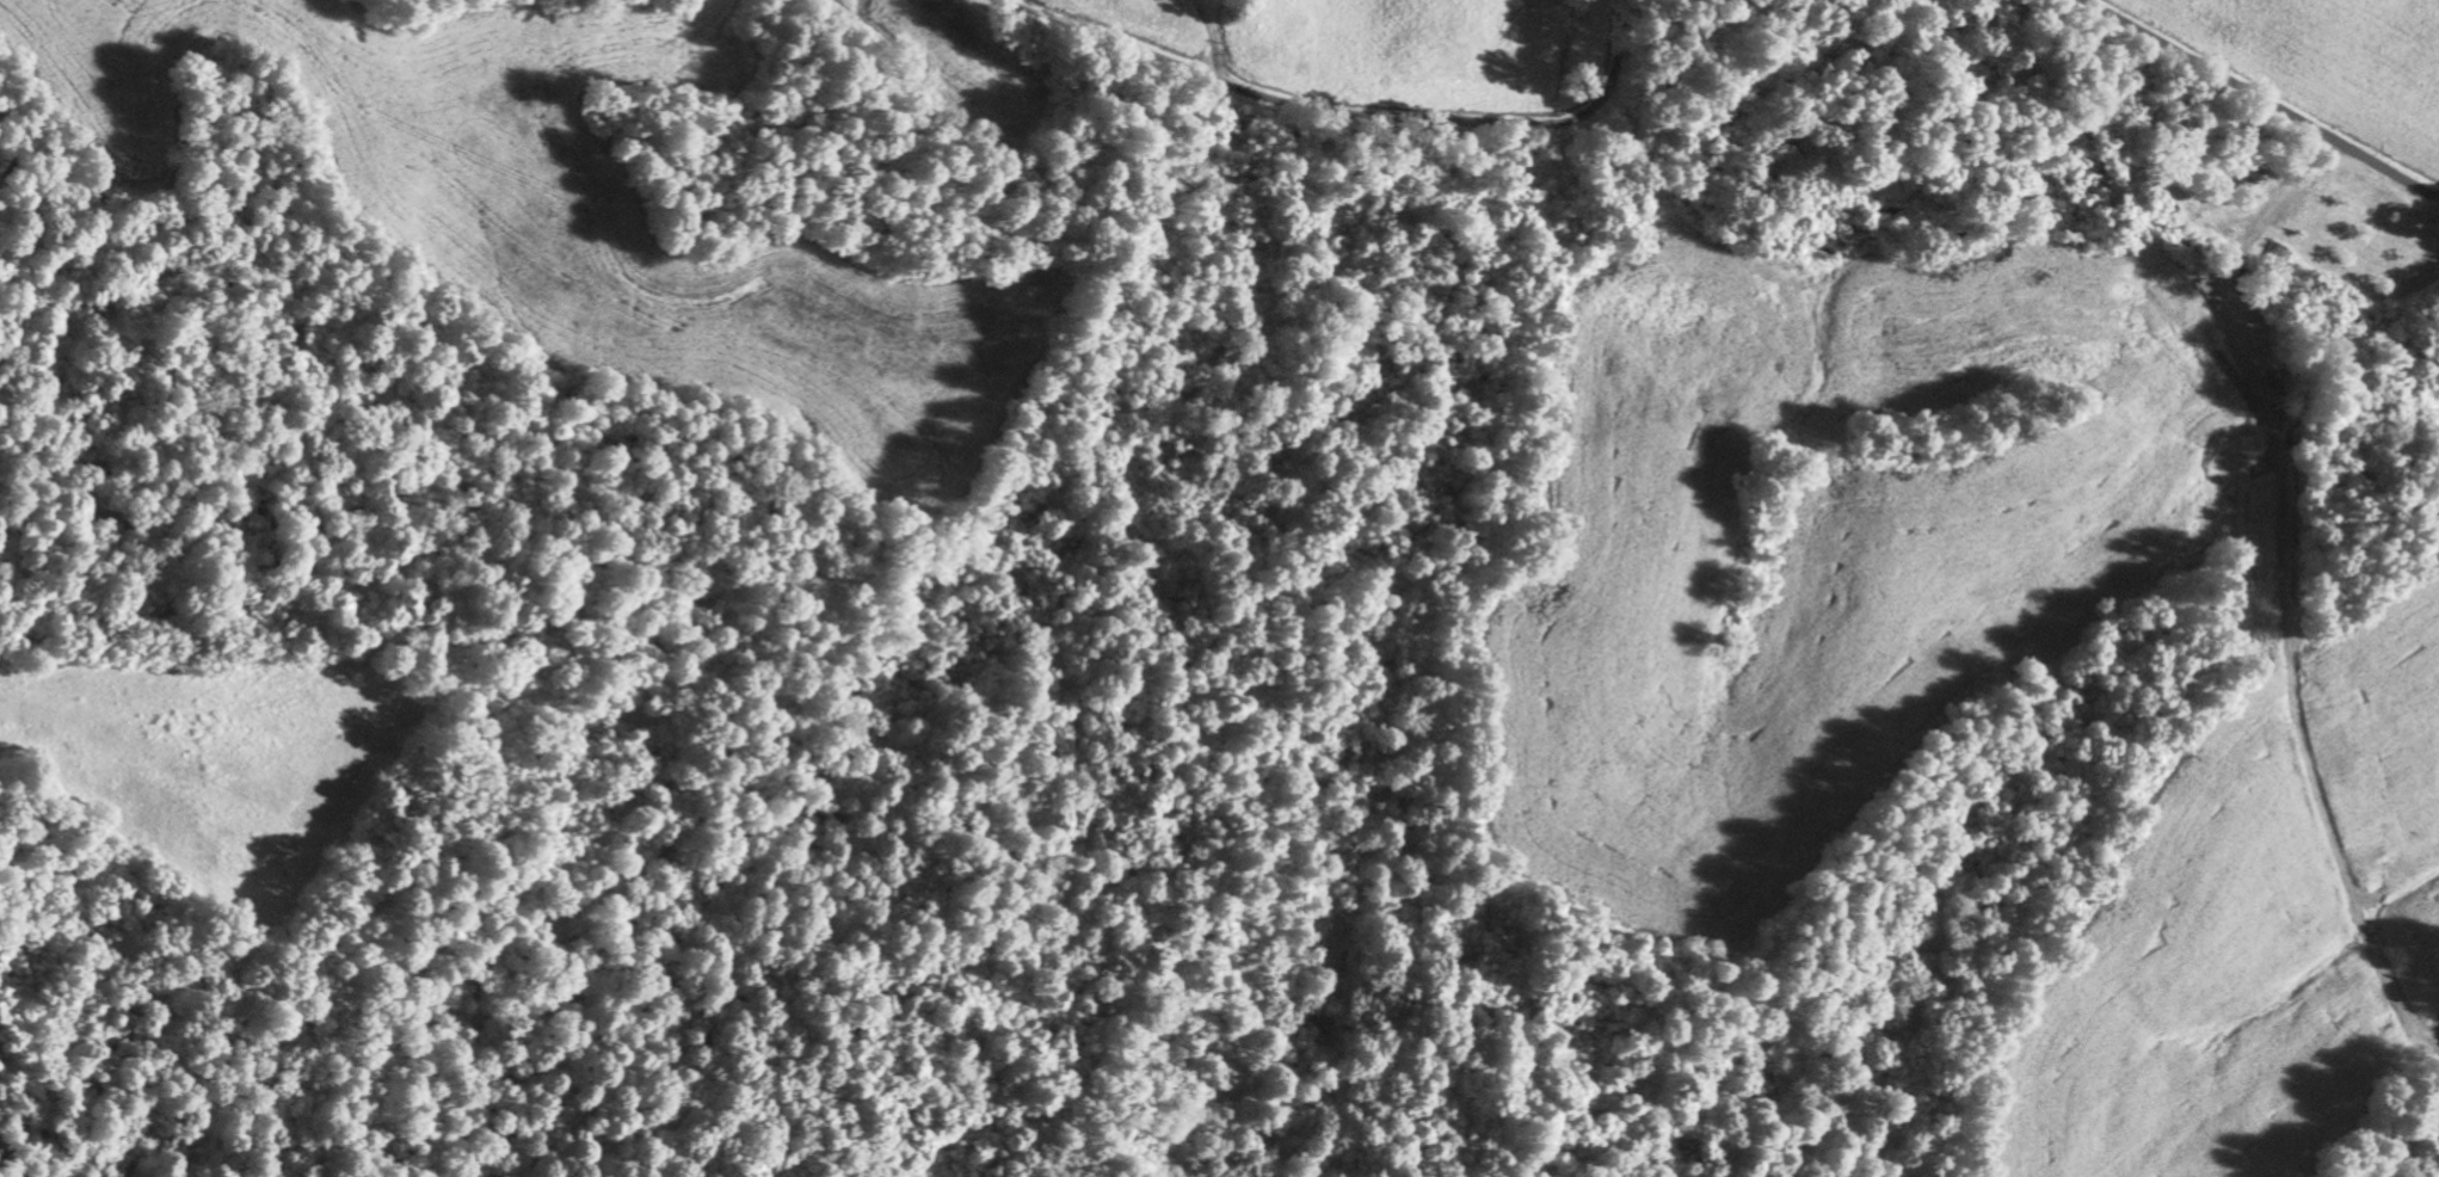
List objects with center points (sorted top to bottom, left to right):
road: (2261, 97)
road: (1349, 110)

